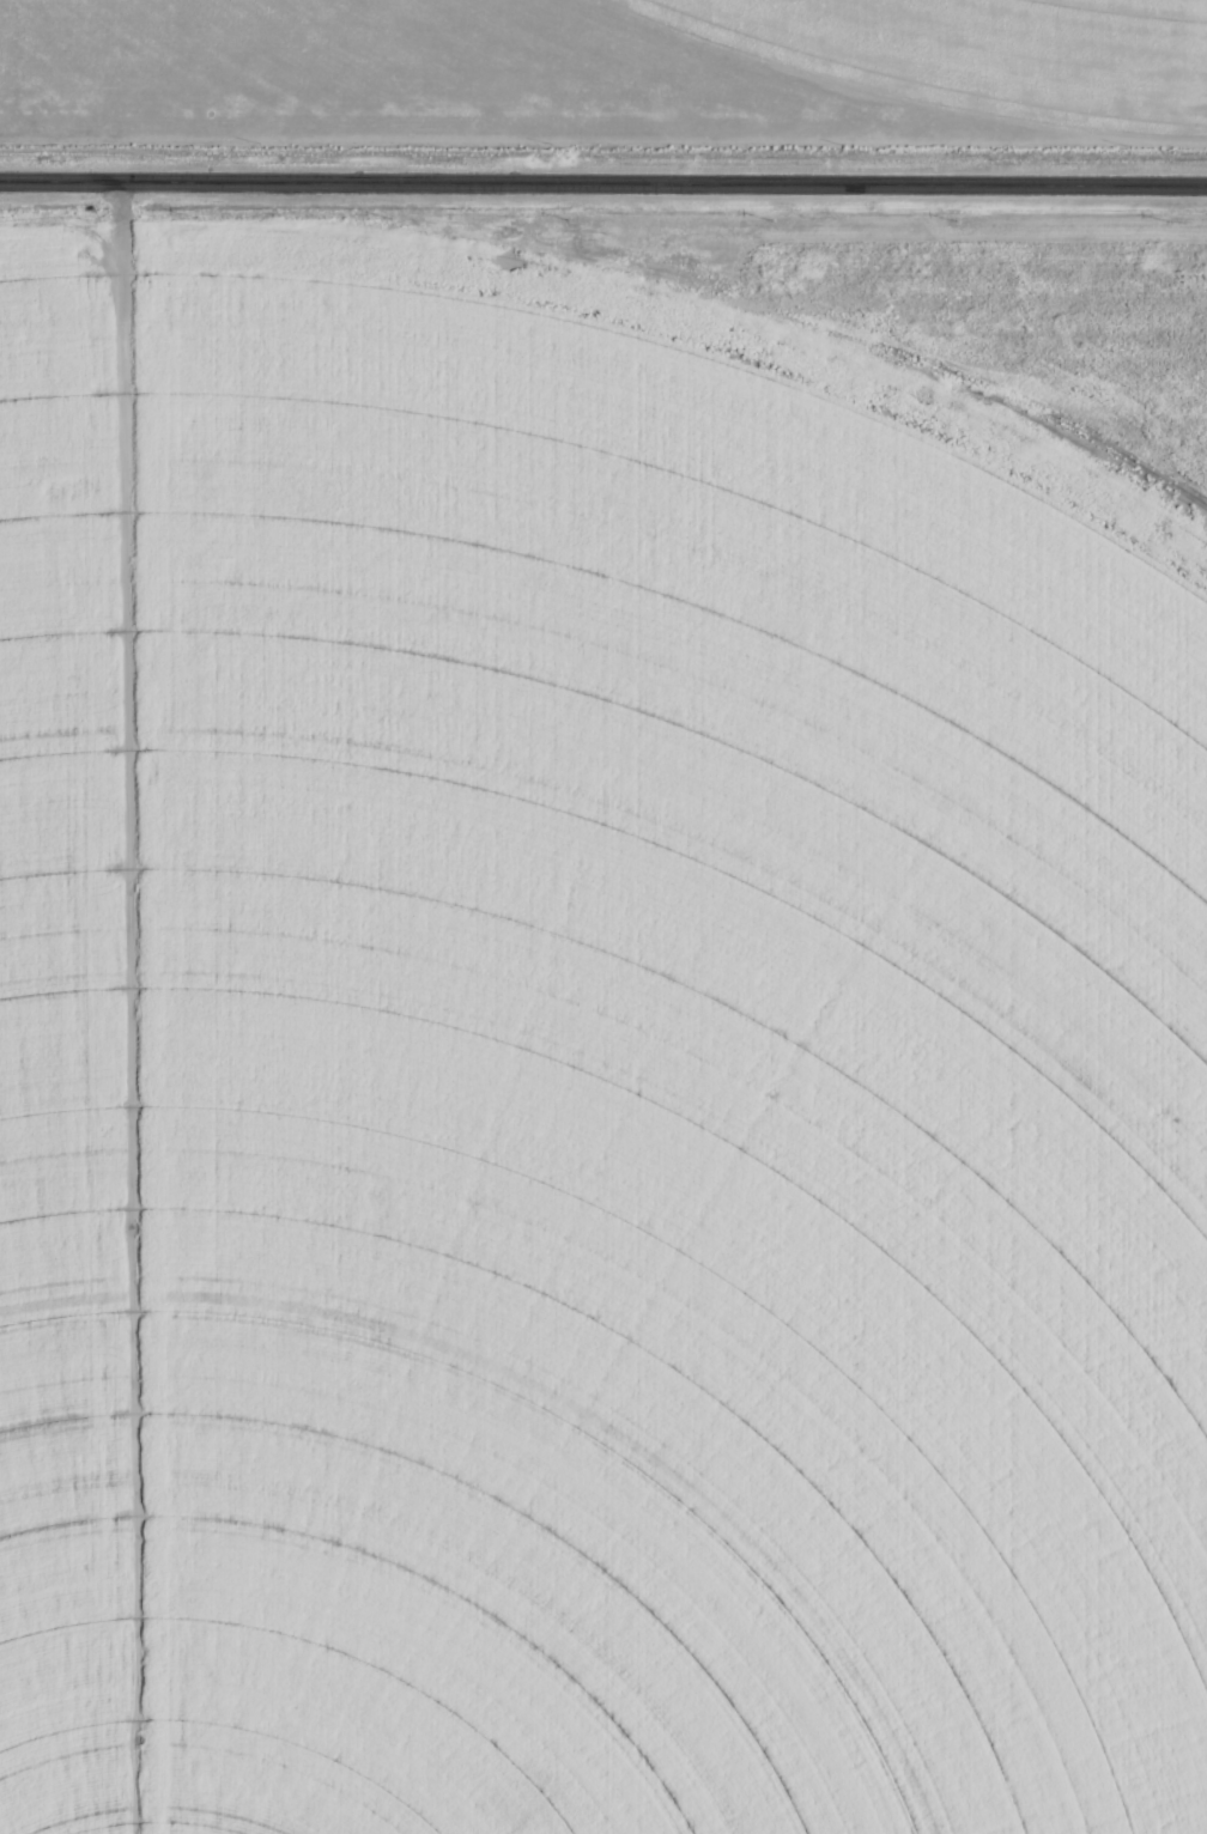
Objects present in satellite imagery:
road: (603, 180)

